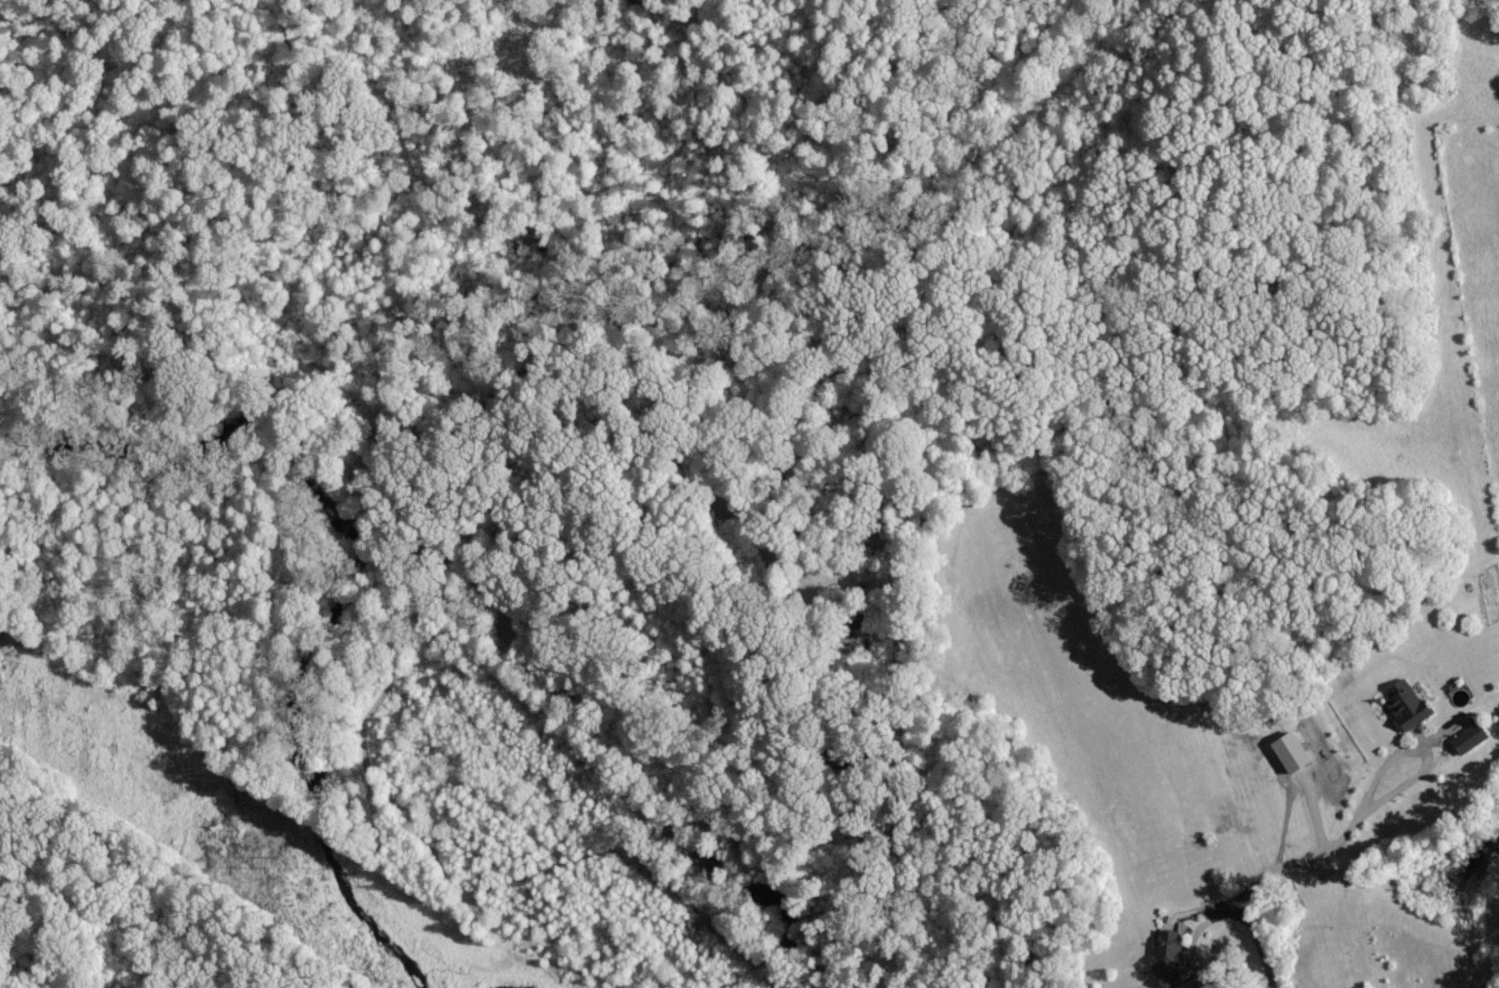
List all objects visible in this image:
building: (1402, 703)
building: (1466, 737)
power tower: (273, 858)
road: (1262, 947)
building: (1164, 954)

